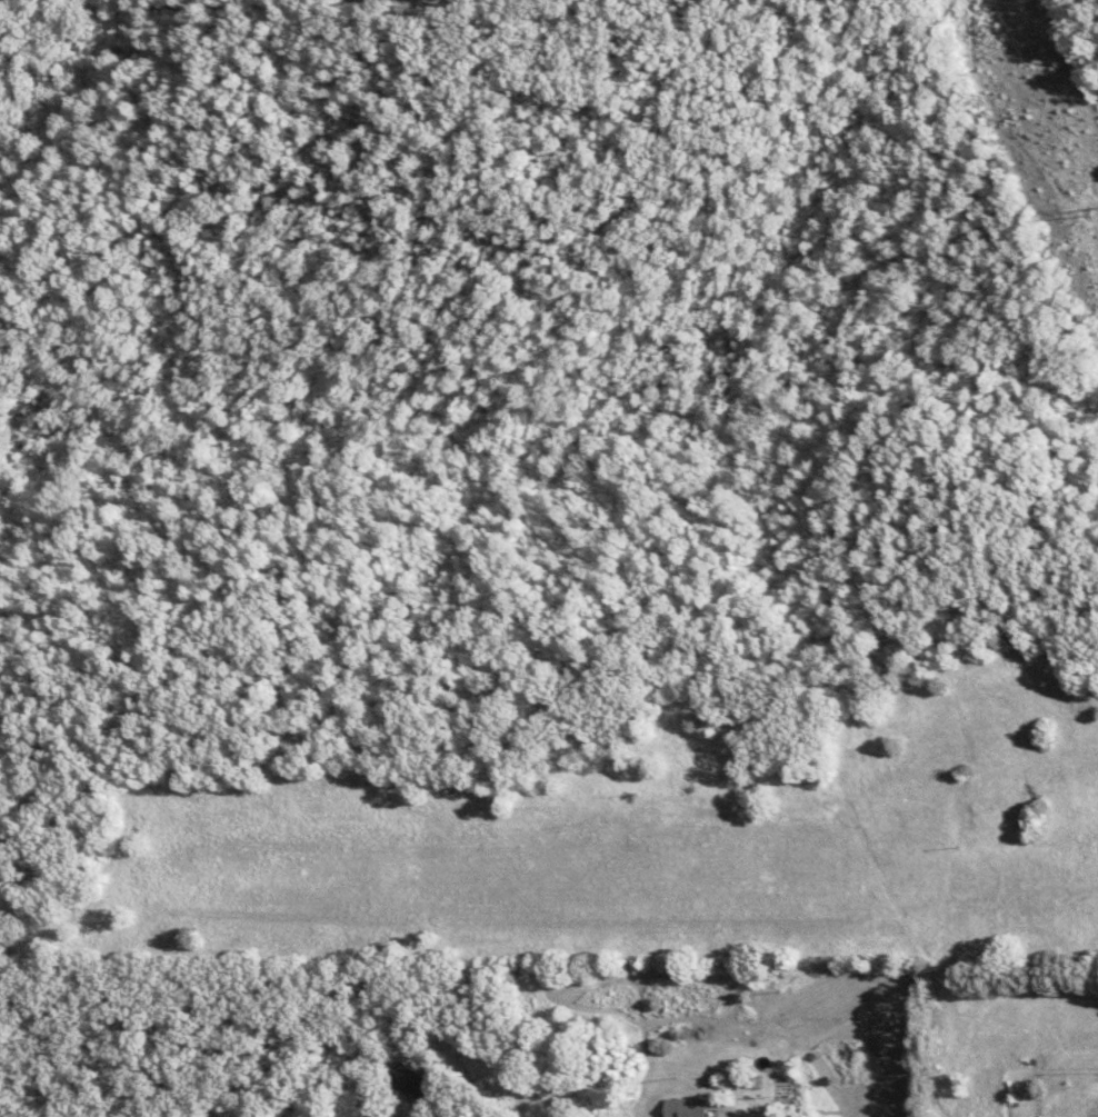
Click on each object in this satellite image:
building: (412, 1080)
building: (690, 1108)

